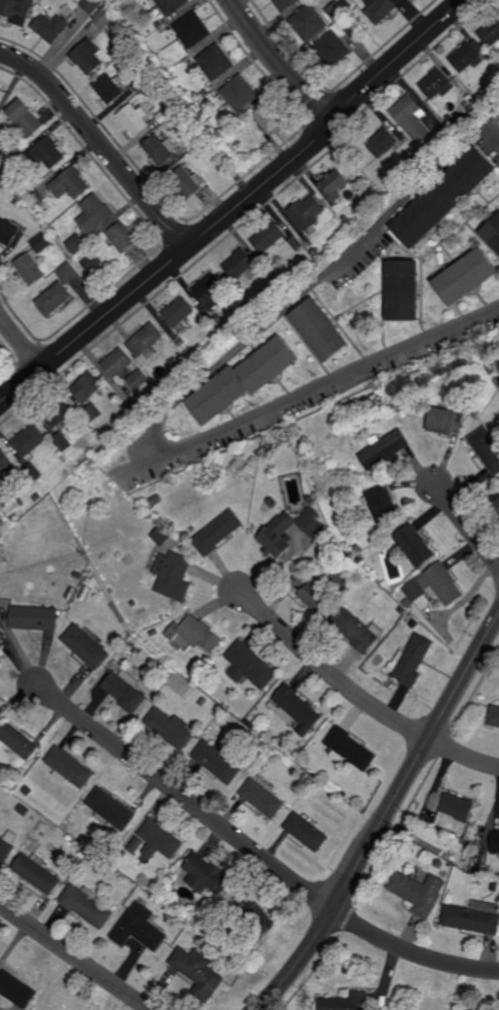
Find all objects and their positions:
building: (342, 1)
building: (284, 4)
building: (91, 5)
building: (171, 6)
building: (17, 9)
building: (379, 11)
building: (335, 12)
building: (104, 18)
building: (349, 21)
building: (307, 22)
building: (127, 23)
building: (157, 24)
building: (51, 27)
building: (355, 27)
building: (192, 29)
building: (490, 32)
building: (134, 33)
building: (332, 49)
building: (467, 55)
building: (87, 56)
building: (215, 62)
road: (279, 62)
building: (140, 83)
building: (437, 84)
building: (108, 88)
building: (187, 88)
building: (240, 93)
building: (164, 115)
building: (411, 117)
building: (25, 118)
building: (267, 118)
building: (134, 119)
building: (189, 120)
building: (236, 120)
building: (459, 121)
building: (196, 138)
road: (100, 142)
building: (383, 143)
building: (210, 144)
building: (160, 149)
building: (48, 153)
building: (415, 160)
building: (186, 182)
building: (70, 183)
building: (335, 185)
building: (36, 197)
building: (444, 199)
road: (236, 207)
building: (307, 212)
building: (94, 214)
building: (346, 219)
building: (8, 232)
building: (492, 234)
building: (122, 237)
building: (269, 237)
building: (41, 243)
building: (295, 243)
building: (75, 244)
building: (314, 252)
building: (91, 263)
building: (239, 264)
building: (30, 268)
building: (67, 273)
building: (467, 278)
building: (208, 291)
building: (404, 292)
building: (54, 299)
building: (177, 312)
building: (219, 326)
building: (320, 331)
road: (22, 341)
building: (145, 341)
building: (180, 342)
building: (117, 363)
building: (185, 366)
building: (491, 370)
building: (137, 379)
building: (243, 380)
building: (86, 388)
road: (175, 399)
building: (133, 410)
building: (57, 412)
building: (91, 413)
building: (444, 420)
building: (29, 439)
building: (61, 441)
building: (486, 447)
building: (383, 448)
building: (81, 458)
building: (5, 464)
building: (34, 470)
building: (41, 480)
building: (35, 497)
building: (310, 499)
building: (7, 502)
building: (495, 502)
building: (271, 503)
building: (382, 503)
road: (467, 526)
building: (275, 530)
building: (217, 532)
building: (161, 535)
building: (414, 545)
building: (356, 550)
building: (360, 559)
building: (77, 575)
building: (173, 575)
building: (433, 585)
building: (311, 589)
building: (133, 603)
building: (402, 610)
building: (34, 617)
building: (408, 618)
building: (414, 624)
building: (356, 629)
building: (154, 633)
building: (194, 634)
building: (2, 638)
building: (86, 646)
building: (134, 648)
building: (411, 661)
building: (250, 664)
road: (327, 670)
building: (124, 691)
building: (202, 701)
building: (295, 709)
building: (493, 716)
building: (249, 723)
building: (168, 727)
building: (17, 740)
building: (349, 749)
road: (462, 755)
building: (216, 760)
building: (67, 767)
building: (305, 775)
building: (27, 790)
building: (344, 794)
building: (262, 798)
road: (186, 799)
building: (108, 809)
building: (24, 810)
building: (454, 811)
road: (386, 816)
building: (306, 831)
building: (156, 840)
building: (495, 843)
building: (7, 845)
building: (85, 851)
building: (121, 854)
building: (91, 855)
building: (480, 860)
building: (439, 864)
building: (117, 872)
building: (36, 873)
building: (207, 876)
building: (494, 887)
building: (419, 893)
building: (85, 905)
building: (255, 915)
building: (470, 920)
building: (182, 922)
building: (201, 922)
building: (139, 928)
building: (1, 950)
road: (412, 951)
road: (75, 957)
building: (198, 972)
building: (17, 990)
building: (347, 1002)
building: (67, 1003)

